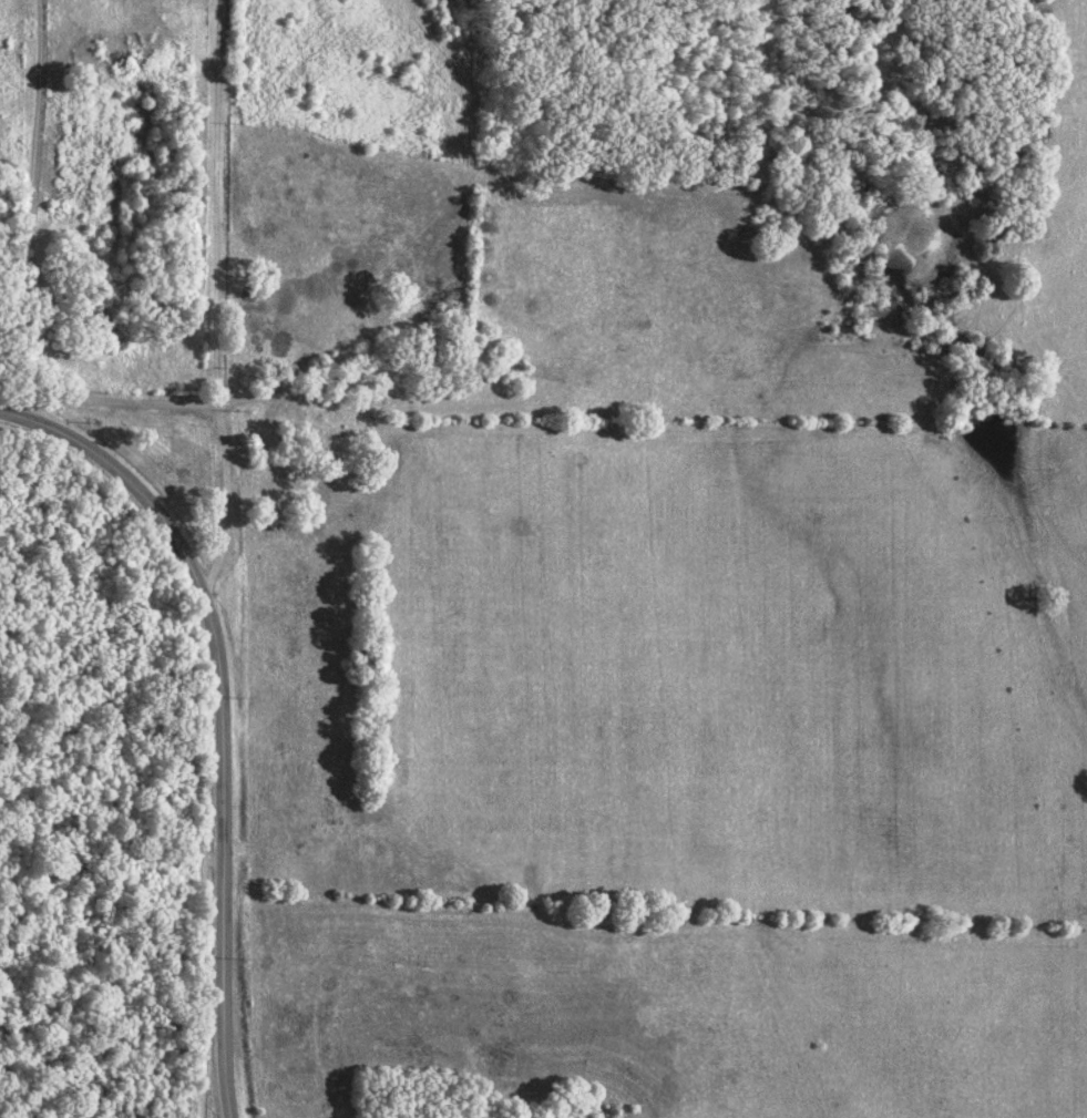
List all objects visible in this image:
road: (28, 212)
road: (215, 298)
road: (130, 398)
road: (221, 711)

